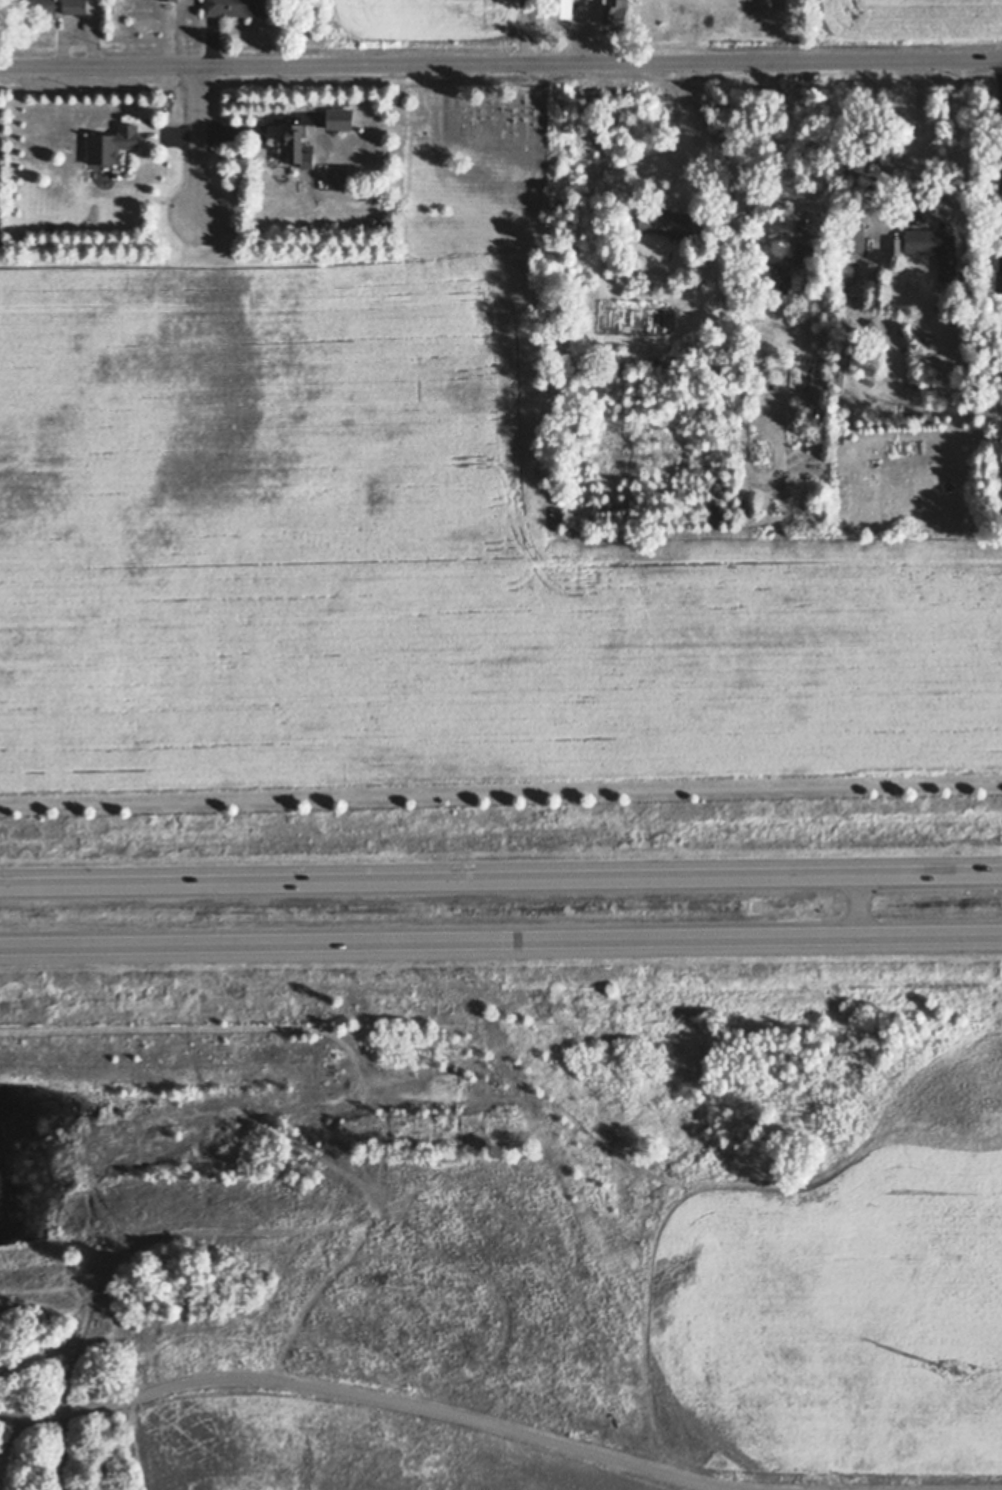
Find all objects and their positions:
building: (170, 0)
building: (558, 1)
building: (75, 7)
building: (238, 7)
building: (42, 8)
building: (614, 12)
road: (501, 63)
building: (340, 118)
road: (1001, 127)
park: (504, 130)
road: (199, 140)
road: (916, 140)
building: (293, 142)
building: (112, 144)
road: (718, 144)
building: (304, 162)
building: (337, 176)
building: (300, 187)
building: (374, 220)
building: (386, 222)
building: (666, 223)
building: (2, 227)
building: (651, 236)
building: (855, 237)
building: (936, 250)
building: (805, 251)
building: (933, 257)
building: (777, 271)
building: (847, 271)
building: (1000, 281)
building: (840, 300)
building: (662, 363)
road: (500, 794)
road: (501, 880)
road: (501, 938)
building: (96, 1325)
power tower: (954, 1370)
road: (382, 1409)

